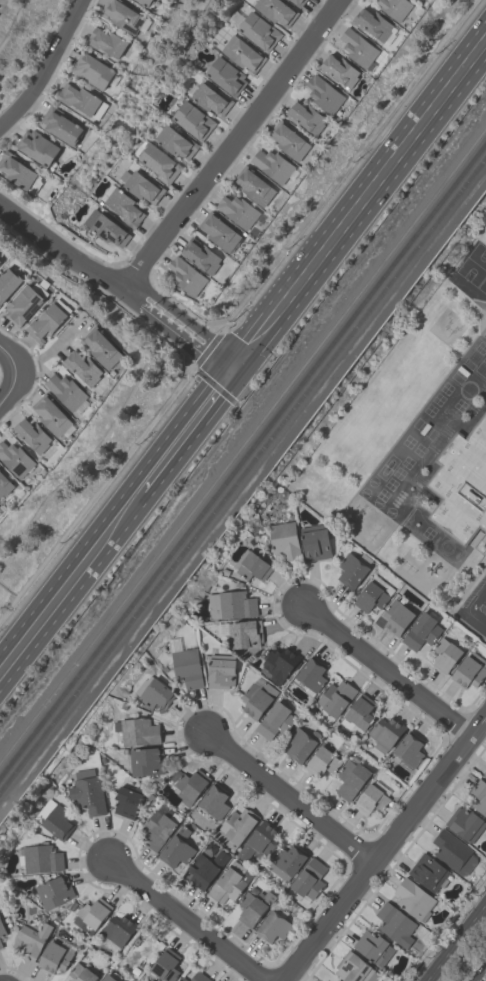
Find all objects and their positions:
building: (417, 0)
building: (146, 2)
building: (297, 2)
building: (395, 8)
building: (275, 10)
building: (124, 16)
building: (372, 23)
building: (258, 31)
building: (106, 41)
building: (357, 47)
building: (242, 54)
road: (43, 64)
building: (92, 70)
building: (339, 70)
building: (224, 75)
building: (323, 93)
building: (210, 99)
building: (81, 100)
building: (305, 116)
building: (191, 119)
building: (60, 125)
building: (288, 140)
building: (174, 142)
road: (232, 143)
building: (40, 148)
building: (158, 163)
building: (274, 165)
building: (16, 170)
building: (141, 186)
building: (253, 186)
building: (124, 207)
building: (237, 210)
road: (366, 210)
building: (108, 230)
building: (219, 231)
road: (64, 250)
building: (201, 255)
building: (0, 261)
building: (0, 263)
building: (186, 276)
building: (8, 282)
building: (24, 302)
building: (46, 322)
road: (192, 323)
road: (243, 333)
road: (182, 338)
building: (102, 347)
traffic signals: (230, 351)
traffic signals: (248, 365)
traffic signals: (218, 366)
building: (82, 367)
road: (14, 372)
traffic signals: (237, 380)
building: (65, 390)
building: (51, 415)
building: (31, 435)
railway: (242, 445)
road: (184, 450)
building: (15, 459)
railway: (243, 460)
railway: (245, 477)
building: (462, 483)
building: (4, 484)
building: (0, 507)
building: (283, 540)
building: (314, 542)
building: (251, 565)
building: (351, 570)
building: (373, 594)
building: (230, 605)
road: (470, 608)
road: (59, 612)
building: (396, 617)
building: (419, 631)
building: (244, 633)
building: (445, 654)
building: (279, 662)
building: (186, 667)
building: (220, 670)
road: (388, 670)
building: (469, 670)
building: (311, 673)
building: (153, 692)
building: (257, 697)
building: (335, 697)
building: (360, 711)
building: (275, 720)
building: (137, 731)
building: (385, 733)
building: (299, 744)
building: (408, 748)
building: (145, 761)
building: (321, 762)
building: (485, 773)
building: (350, 778)
building: (188, 785)
building: (86, 791)
road: (290, 795)
building: (478, 796)
building: (370, 799)
building: (214, 800)
building: (127, 801)
building: (54, 818)
building: (464, 823)
building: (159, 826)
building: (237, 826)
building: (258, 841)
road: (381, 847)
building: (176, 848)
building: (453, 851)
building: (41, 858)
building: (288, 858)
building: (205, 868)
building: (428, 872)
building: (307, 881)
building: (229, 883)
building: (54, 891)
building: (413, 898)
building: (253, 906)
building: (91, 913)
road: (187, 920)
building: (395, 924)
building: (272, 926)
building: (118, 929)
building: (2, 930)
building: (33, 938)
building: (0, 945)
road: (458, 945)
building: (373, 947)
building: (139, 952)
building: (54, 957)
building: (165, 965)
building: (354, 968)
building: (82, 973)
road: (481, 975)
building: (108, 977)
building: (199, 977)
building: (182, 979)
building: (336, 980)

